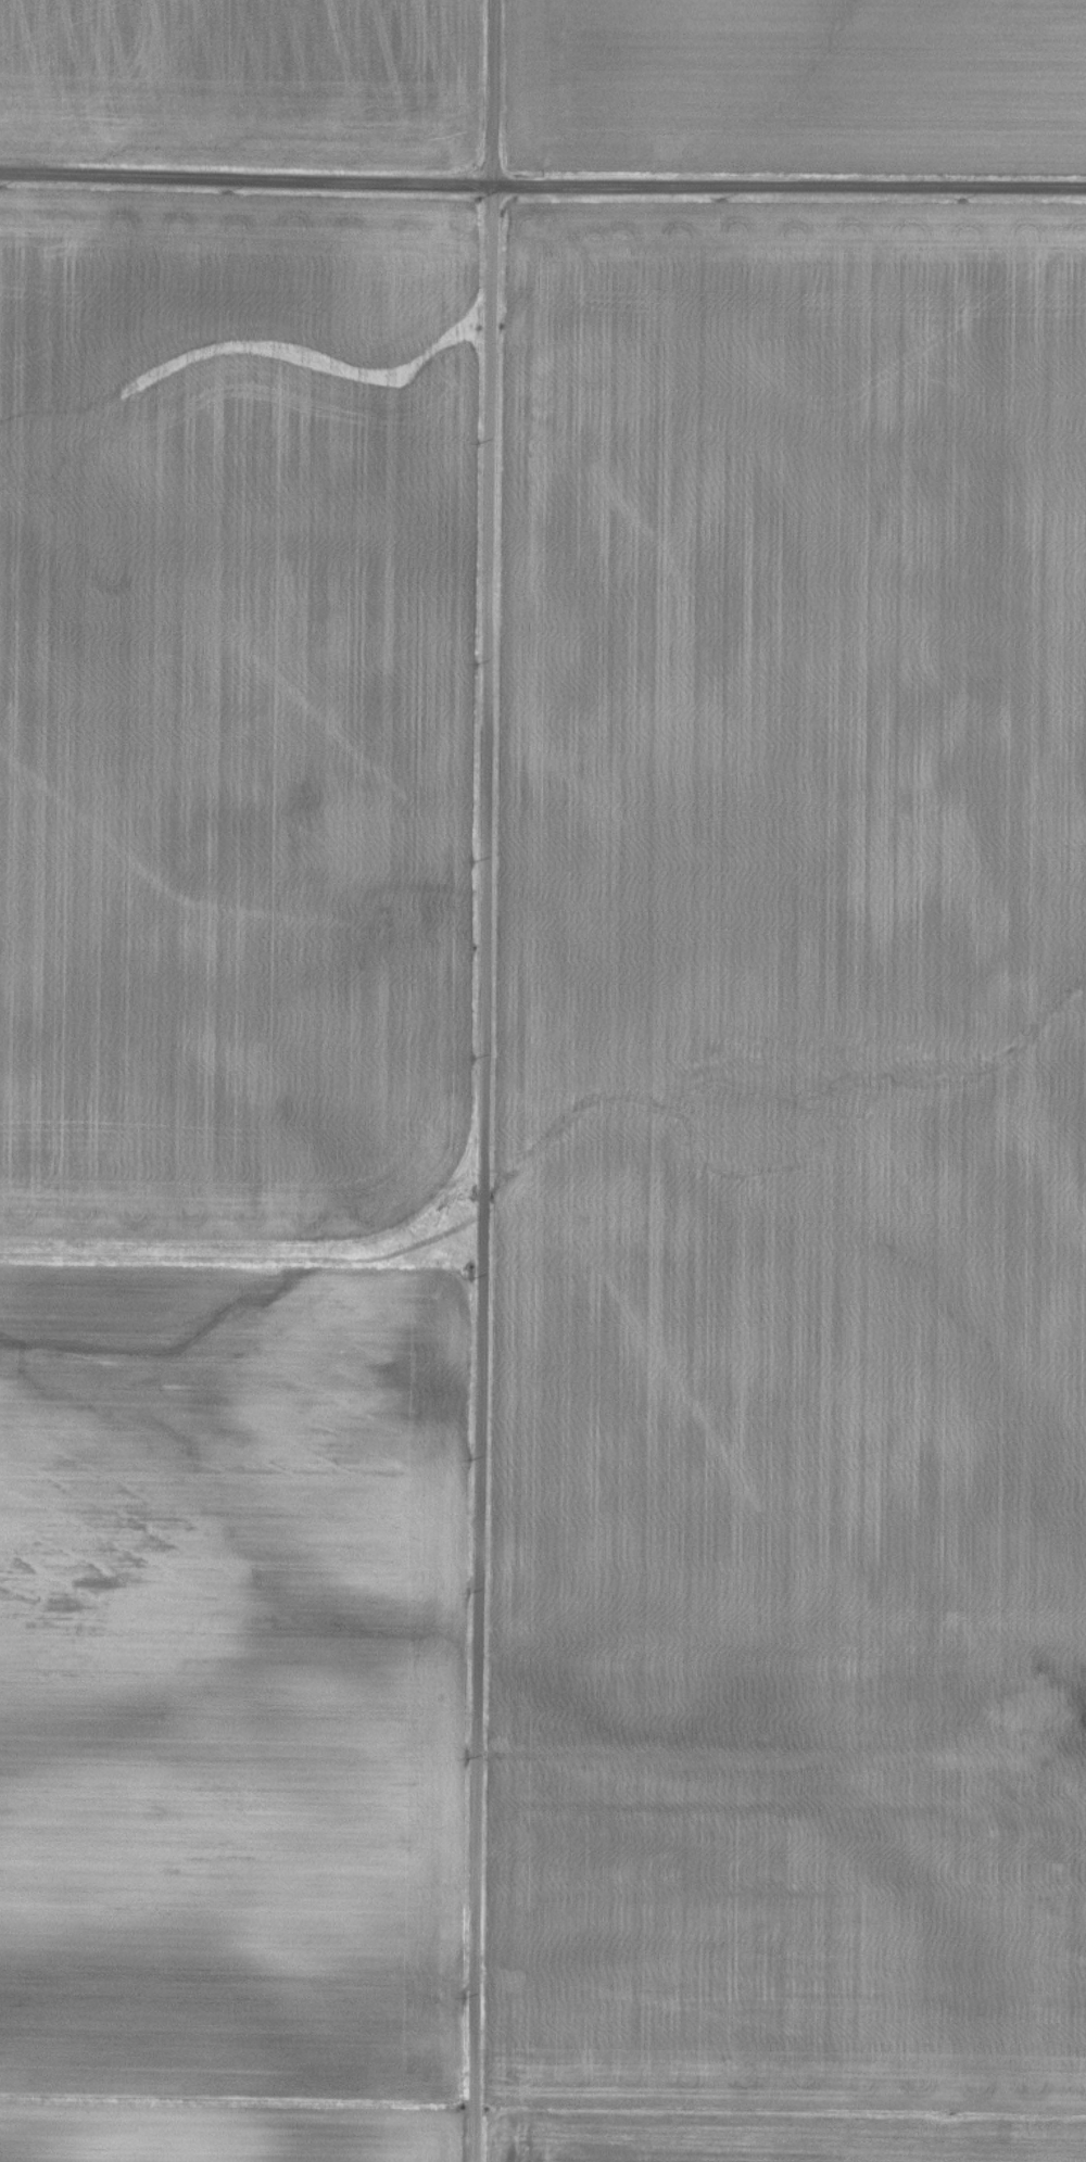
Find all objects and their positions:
road: (542, 185)
road: (482, 1080)
road: (733, 1757)
road: (1040, 1769)

